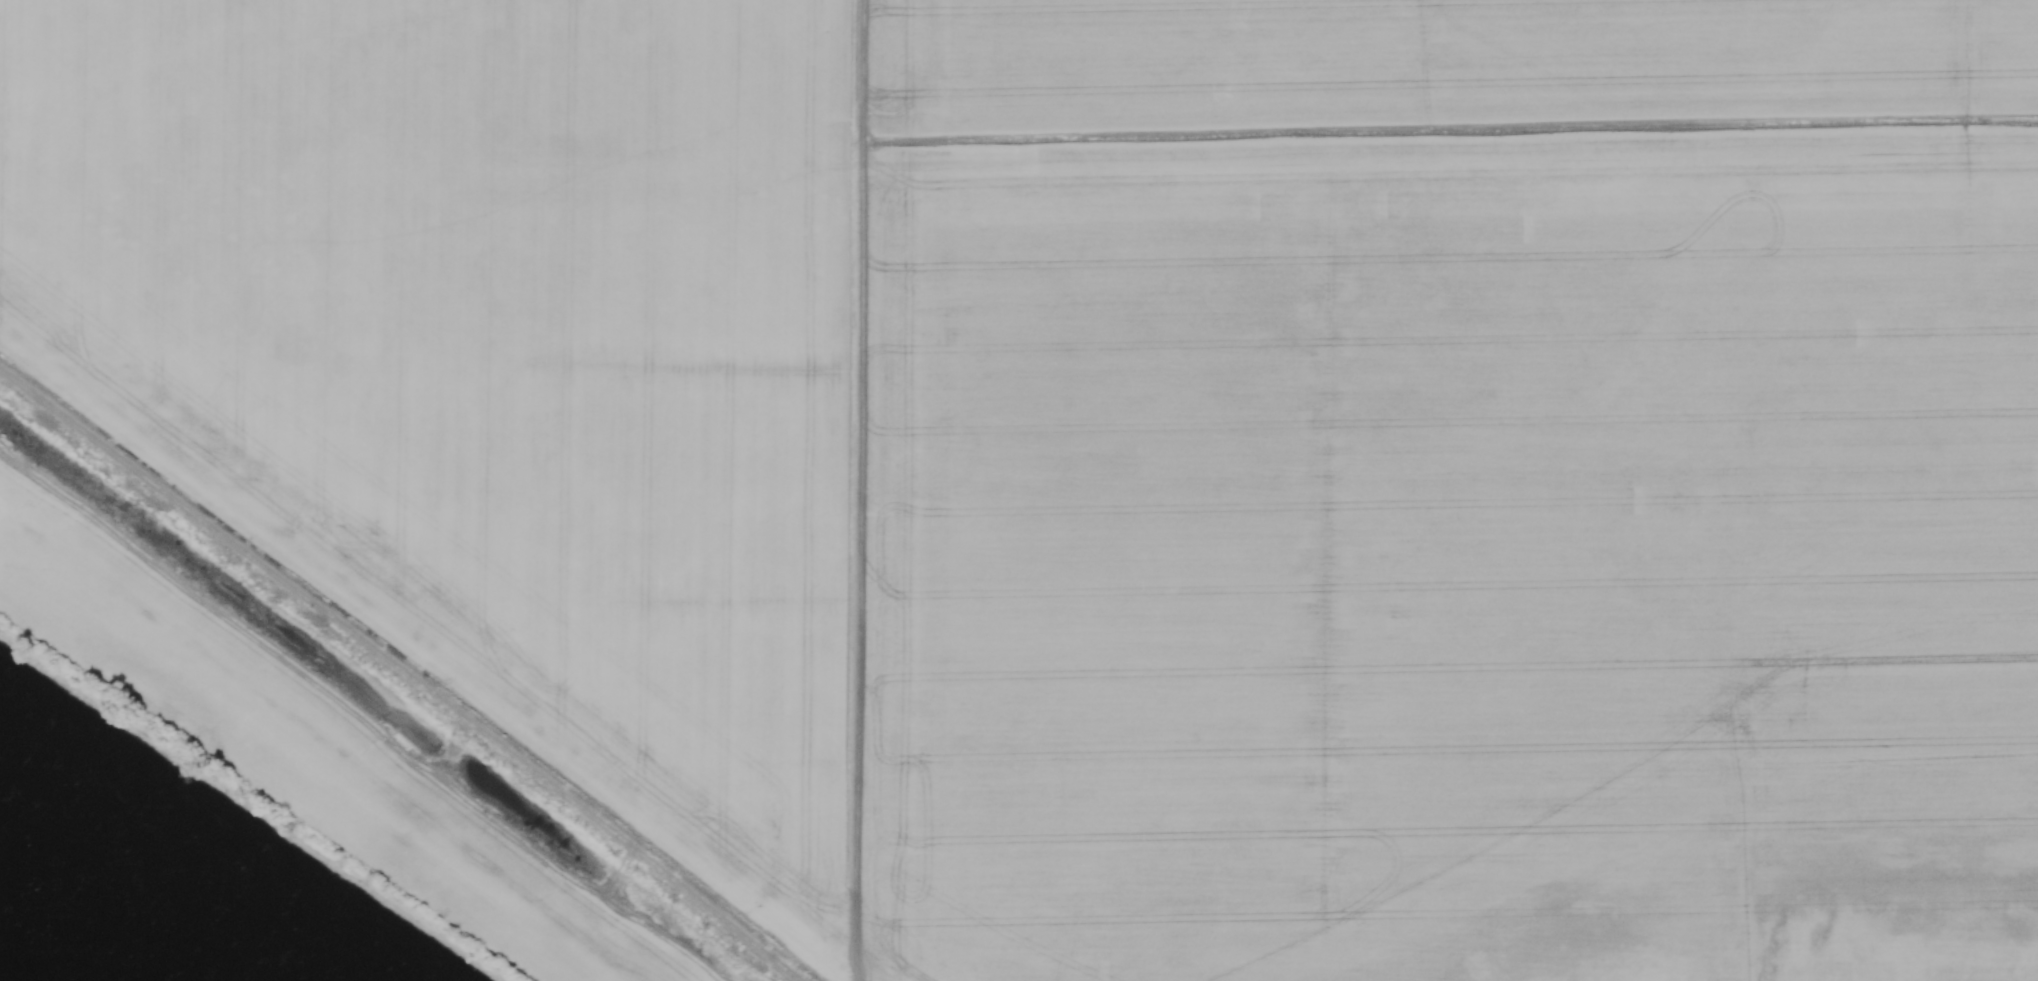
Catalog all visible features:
river: (43, 957)

